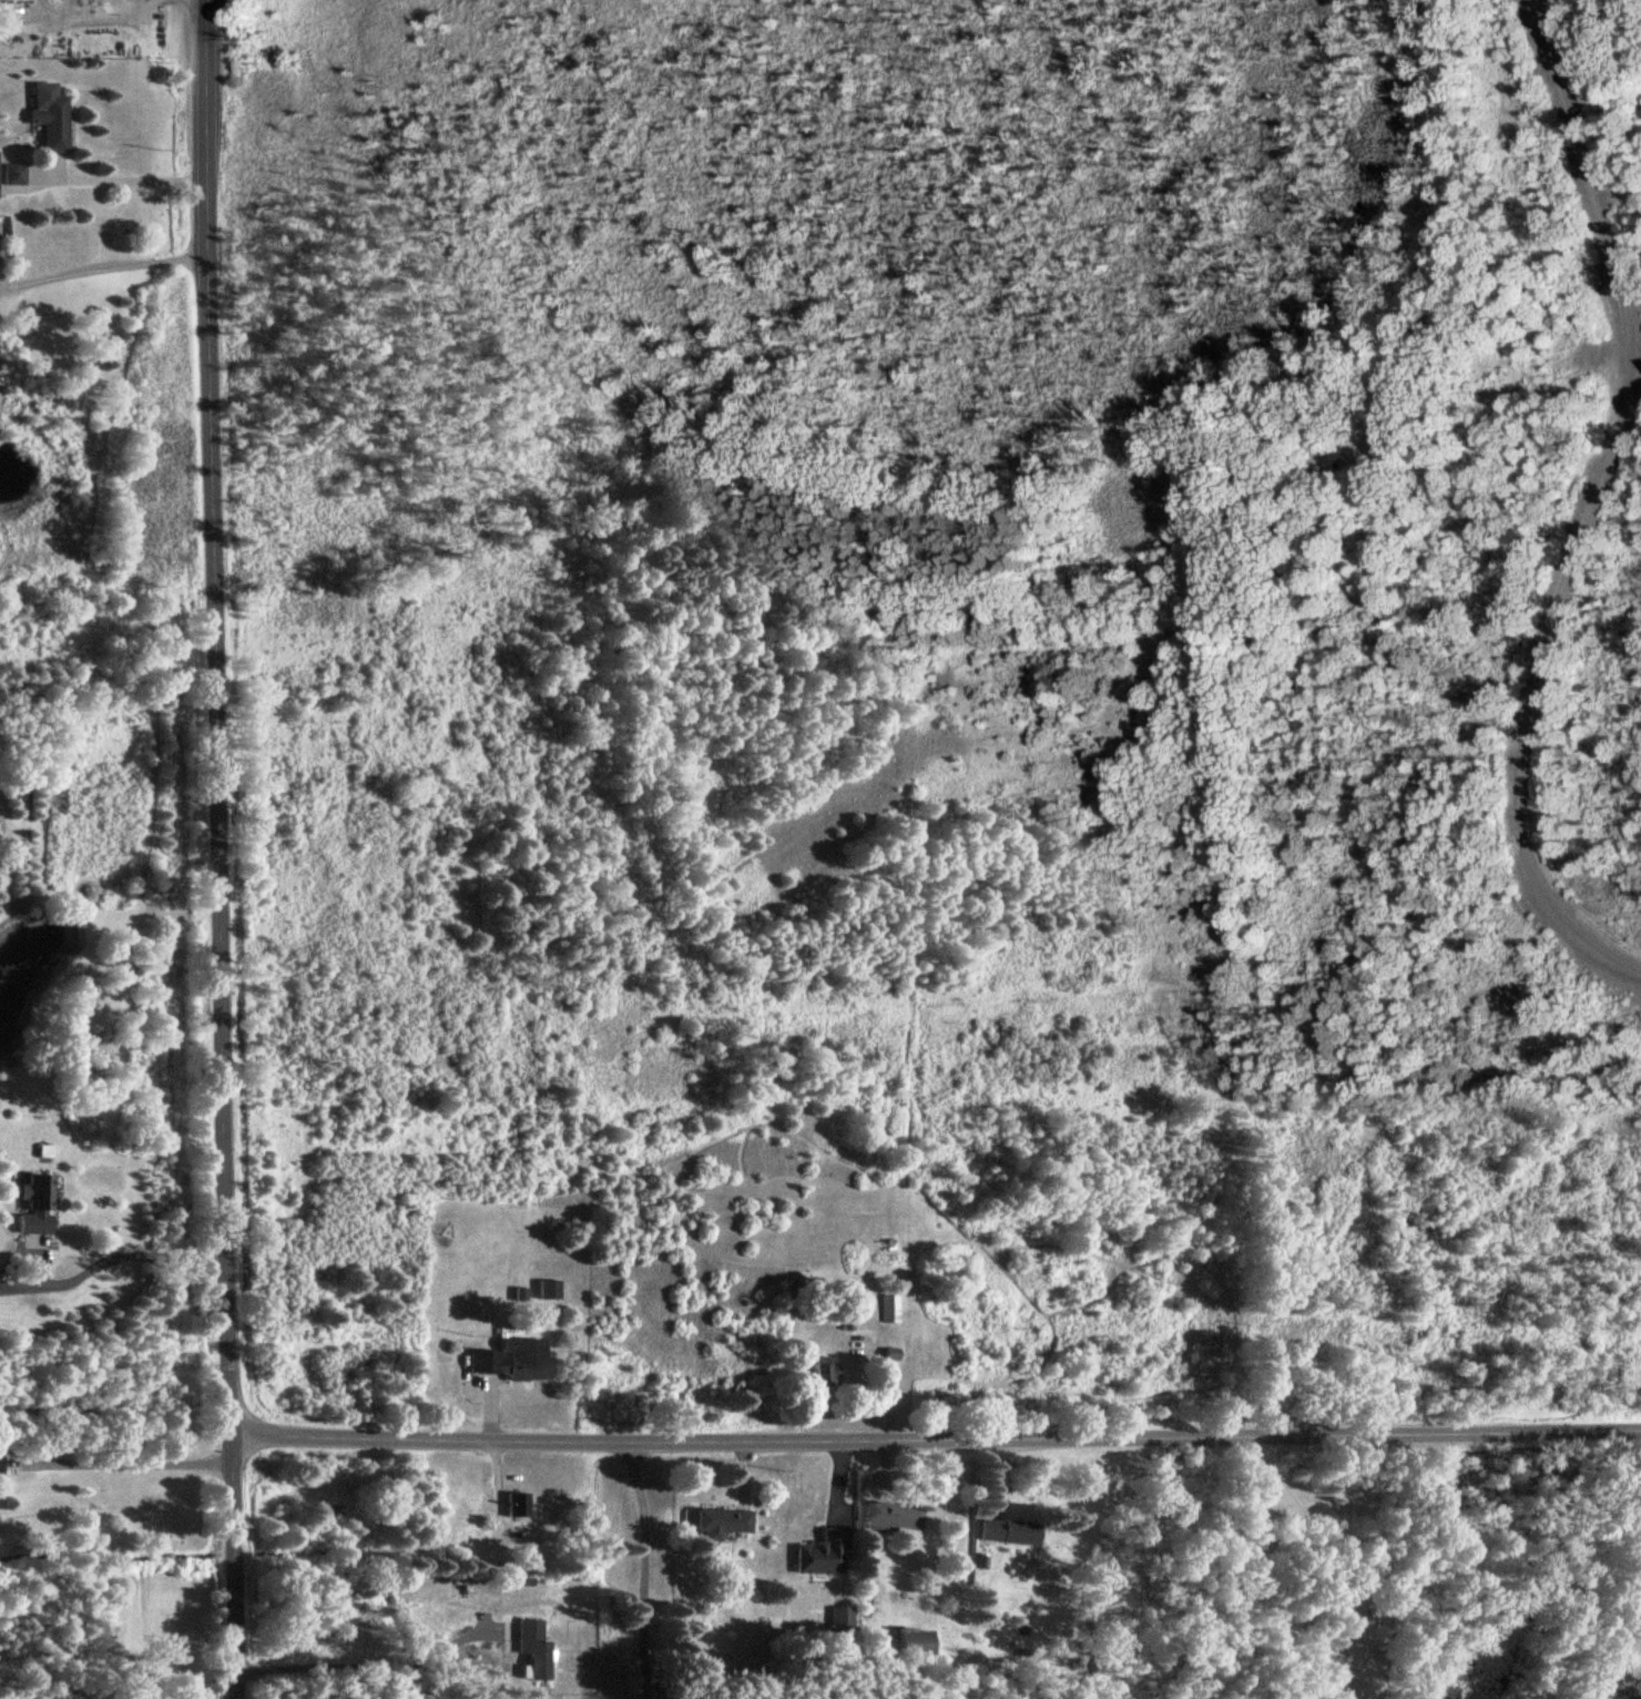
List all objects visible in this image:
building: (48, 114)
building: (10, 173)
road: (121, 177)
road: (1586, 507)
road: (213, 849)
building: (32, 1203)
road: (123, 1254)
building: (544, 1288)
building: (886, 1306)
building: (508, 1359)
building: (818, 1369)
road: (932, 1431)
road: (123, 1463)
building: (512, 1503)
building: (886, 1515)
building: (717, 1520)
building: (1003, 1530)
building: (816, 1553)
road: (1326, 1555)
road: (641, 1563)
building: (836, 1614)
building: (909, 1641)
building: (530, 1647)
building: (1623, 1696)

